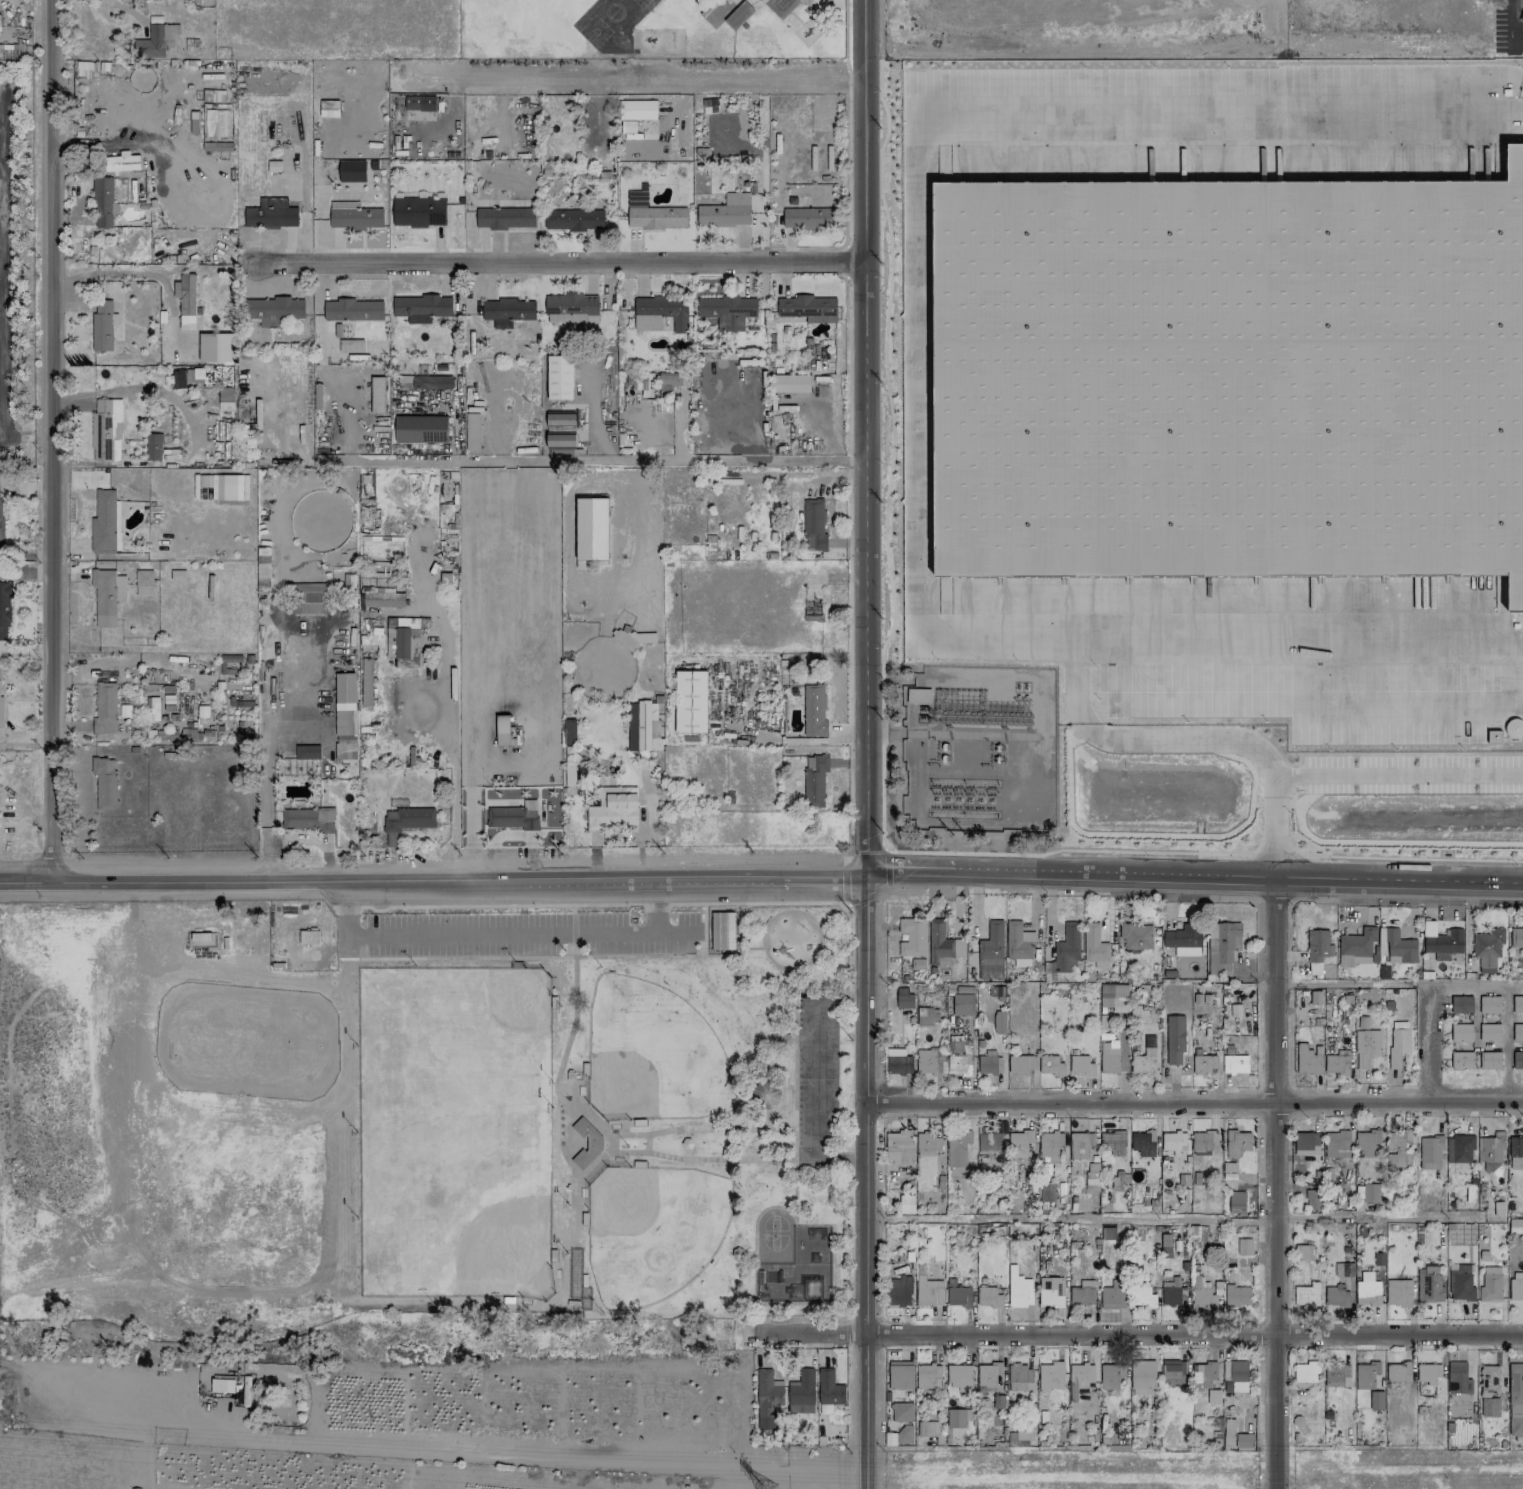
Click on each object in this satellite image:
building: (732, 0)
building: (756, 3)
road: (125, 9)
road: (1269, 12)
building: (737, 15)
building: (0, 29)
building: (155, 41)
road: (634, 81)
building: (419, 103)
building: (710, 105)
building: (328, 108)
building: (636, 109)
building: (628, 126)
building: (351, 170)
building: (102, 202)
building: (725, 211)
building: (418, 212)
building: (652, 213)
building: (271, 214)
building: (354, 216)
building: (505, 218)
building: (808, 218)
building: (573, 219)
road: (562, 265)
building: (185, 300)
building: (421, 307)
building: (571, 308)
building: (808, 308)
building: (352, 309)
building: (273, 310)
building: (663, 310)
building: (506, 311)
building: (727, 311)
building: (101, 325)
building: (350, 345)
building: (215, 347)
road: (916, 364)
building: (197, 373)
building: (559, 377)
building: (1230, 377)
building: (178, 379)
building: (666, 380)
building: (424, 382)
building: (790, 383)
road: (140, 389)
building: (377, 394)
building: (225, 399)
building: (559, 419)
building: (420, 429)
building: (105, 430)
building: (471, 432)
road: (53, 438)
building: (560, 440)
building: (153, 446)
road: (596, 460)
building: (229, 487)
building: (0, 513)
building: (103, 521)
building: (813, 525)
building: (591, 528)
road: (26, 573)
building: (143, 582)
building: (106, 595)
building: (381, 599)
building: (309, 600)
building: (4, 611)
building: (405, 645)
road: (26, 652)
building: (366, 682)
road: (441, 689)
building: (918, 696)
building: (690, 701)
building: (344, 703)
building: (104, 707)
building: (153, 708)
building: (814, 711)
building: (0, 713)
building: (642, 726)
building: (502, 730)
road: (1135, 737)
building: (345, 739)
road: (862, 744)
power substation: (976, 746)
building: (306, 752)
building: (344, 753)
road: (1398, 776)
road: (265, 779)
building: (814, 780)
building: (104, 782)
building: (1334, 789)
building: (612, 809)
building: (513, 816)
building: (307, 819)
building: (405, 822)
road: (1272, 831)
road: (761, 885)
building: (721, 930)
road: (502, 935)
building: (1136, 936)
building: (308, 937)
building: (911, 937)
building: (1516, 937)
building: (1184, 940)
building: (1017, 941)
building: (1441, 941)
building: (942, 944)
building: (1378, 946)
building: (1356, 947)
building: (1094, 948)
building: (1224, 948)
building: (1399, 948)
building: (1487, 949)
building: (1065, 950)
building: (1318, 950)
building: (990, 952)
building: (916, 963)
road: (1353, 983)
road: (1513, 984)
building: (1114, 997)
building: (904, 1001)
building: (962, 1004)
building: (1461, 1004)
building: (1489, 1004)
building: (1517, 1004)
road: (1425, 1011)
building: (927, 1015)
building: (999, 1022)
building: (1461, 1032)
building: (1489, 1032)
building: (1517, 1032)
building: (1174, 1039)
road: (1506, 1045)
building: (1398, 1046)
building: (1366, 1047)
building: (958, 1056)
building: (1108, 1056)
building: (1144, 1058)
building: (1308, 1059)
building: (1461, 1060)
building: (1490, 1060)
building: (1517, 1060)
building: (897, 1061)
building: (927, 1061)
building: (988, 1063)
building: (1019, 1063)
building: (1203, 1063)
building: (1337, 1063)
building: (1234, 1064)
building: (1050, 1065)
building: (1080, 1065)
road: (815, 1079)
building: (767, 1093)
road: (1193, 1104)
park: (417, 1118)
building: (1173, 1141)
building: (1113, 1142)
building: (1202, 1142)
building: (596, 1143)
building: (927, 1143)
building: (1019, 1143)
building: (1142, 1143)
building: (1236, 1143)
building: (1306, 1143)
building: (1366, 1143)
building: (988, 1144)
building: (1336, 1144)
building: (900, 1145)
building: (1079, 1145)
building: (1049, 1146)
building: (1397, 1148)
building: (1459, 1148)
building: (1490, 1148)
building: (956, 1152)
building: (1430, 1152)
building: (1515, 1152)
building: (1091, 1176)
building: (1117, 1178)
road: (1274, 1187)
building: (1046, 1192)
building: (1371, 1192)
building: (1313, 1199)
building: (1236, 1202)
building: (1498, 1208)
road: (1377, 1217)
road: (1069, 1219)
building: (1515, 1225)
building: (1108, 1233)
building: (1165, 1244)
building: (1244, 1246)
building: (1302, 1251)
building: (1378, 1259)
park: (799, 1268)
building: (1343, 1269)
building: (1428, 1284)
building: (1490, 1284)
building: (1516, 1285)
building: (1461, 1287)
building: (899, 1289)
building: (1018, 1289)
building: (928, 1291)
building: (1050, 1291)
building: (1172, 1292)
building: (1367, 1292)
building: (1398, 1292)
building: (1082, 1293)
building: (1201, 1294)
building: (1113, 1295)
building: (1236, 1295)
building: (1307, 1295)
building: (958, 1296)
building: (1144, 1296)
building: (1335, 1296)
building: (988, 1297)
road: (1135, 1337)
building: (1397, 1372)
building: (1174, 1373)
building: (1427, 1373)
building: (987, 1374)
building: (1203, 1374)
building: (1235, 1374)
building: (1306, 1374)
building: (900, 1375)
building: (927, 1375)
building: (1110, 1375)
building: (1337, 1375)
building: (1365, 1375)
building: (1050, 1376)
building: (1080, 1376)
building: (1142, 1376)
building: (959, 1377)
building: (1018, 1377)
building: (1457, 1378)
building: (1489, 1379)
building: (1515, 1382)
building: (221, 1385)
building: (829, 1388)
building: (801, 1392)
building: (1213, 1396)
building: (767, 1398)
building: (1376, 1400)
building: (1490, 1407)
building: (1515, 1411)
building: (901, 1412)
building: (955, 1418)
building: (1515, 1426)
building: (928, 1429)
building: (1228, 1432)
building: (904, 1433)
building: (1244, 1441)
road: (426, 1446)

